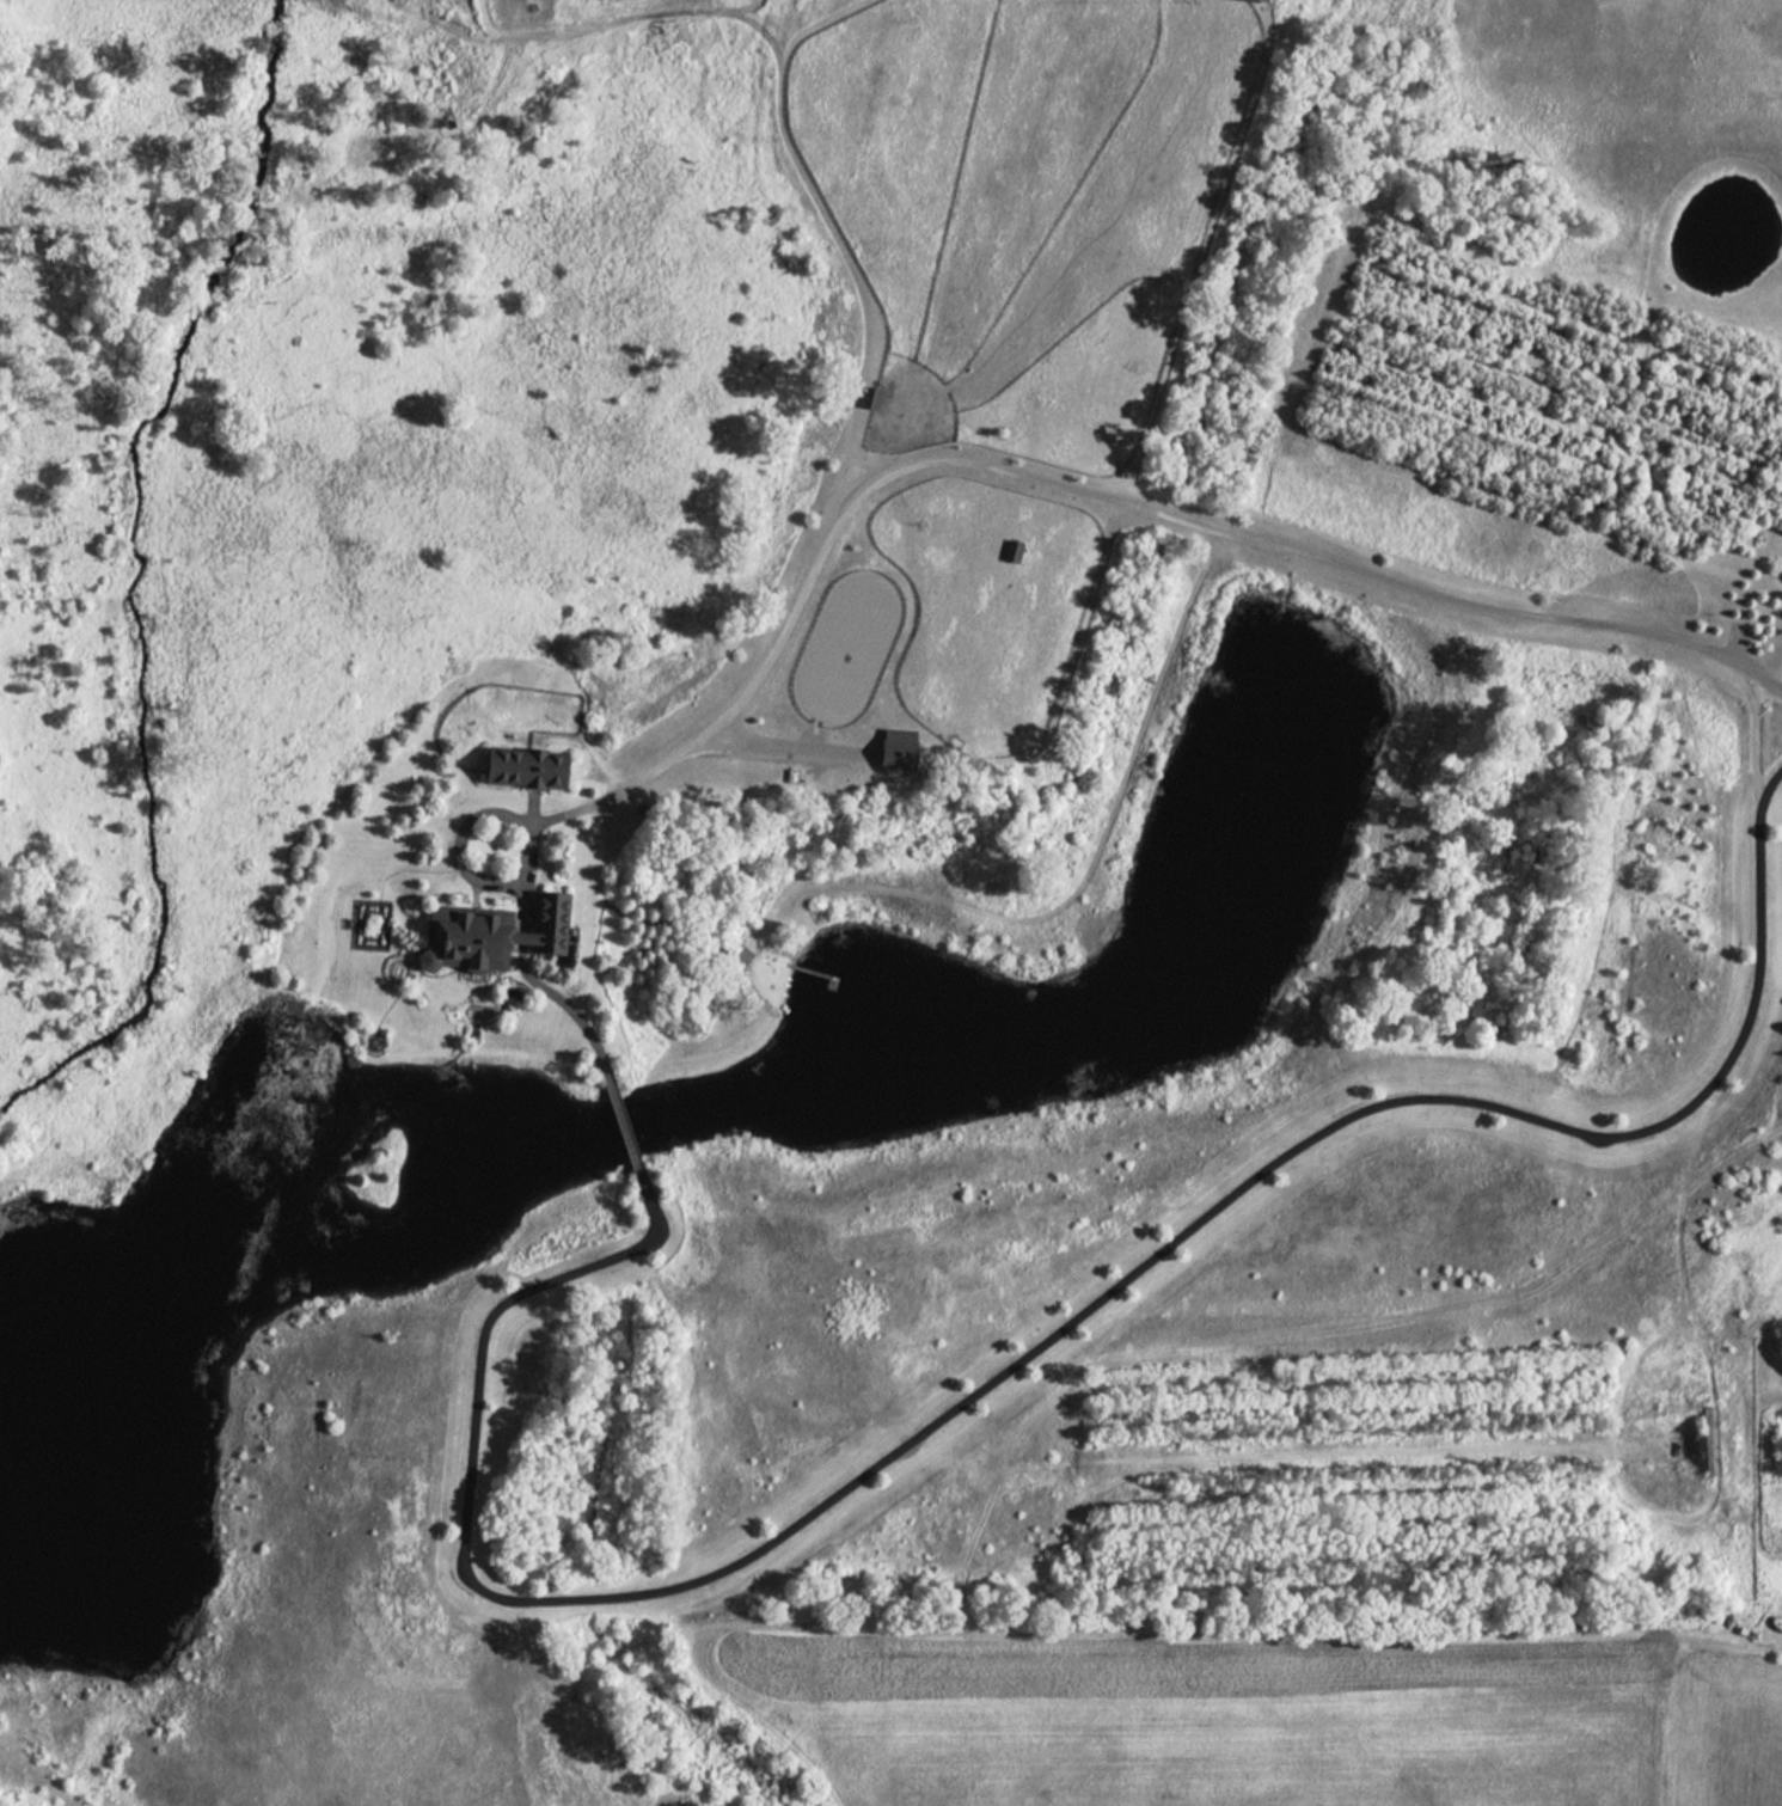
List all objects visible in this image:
road: (996, 469)
building: (898, 748)
building: (526, 767)
building: (491, 933)
road: (516, 950)
road: (621, 1126)
road: (1009, 1364)
road: (1758, 1639)

